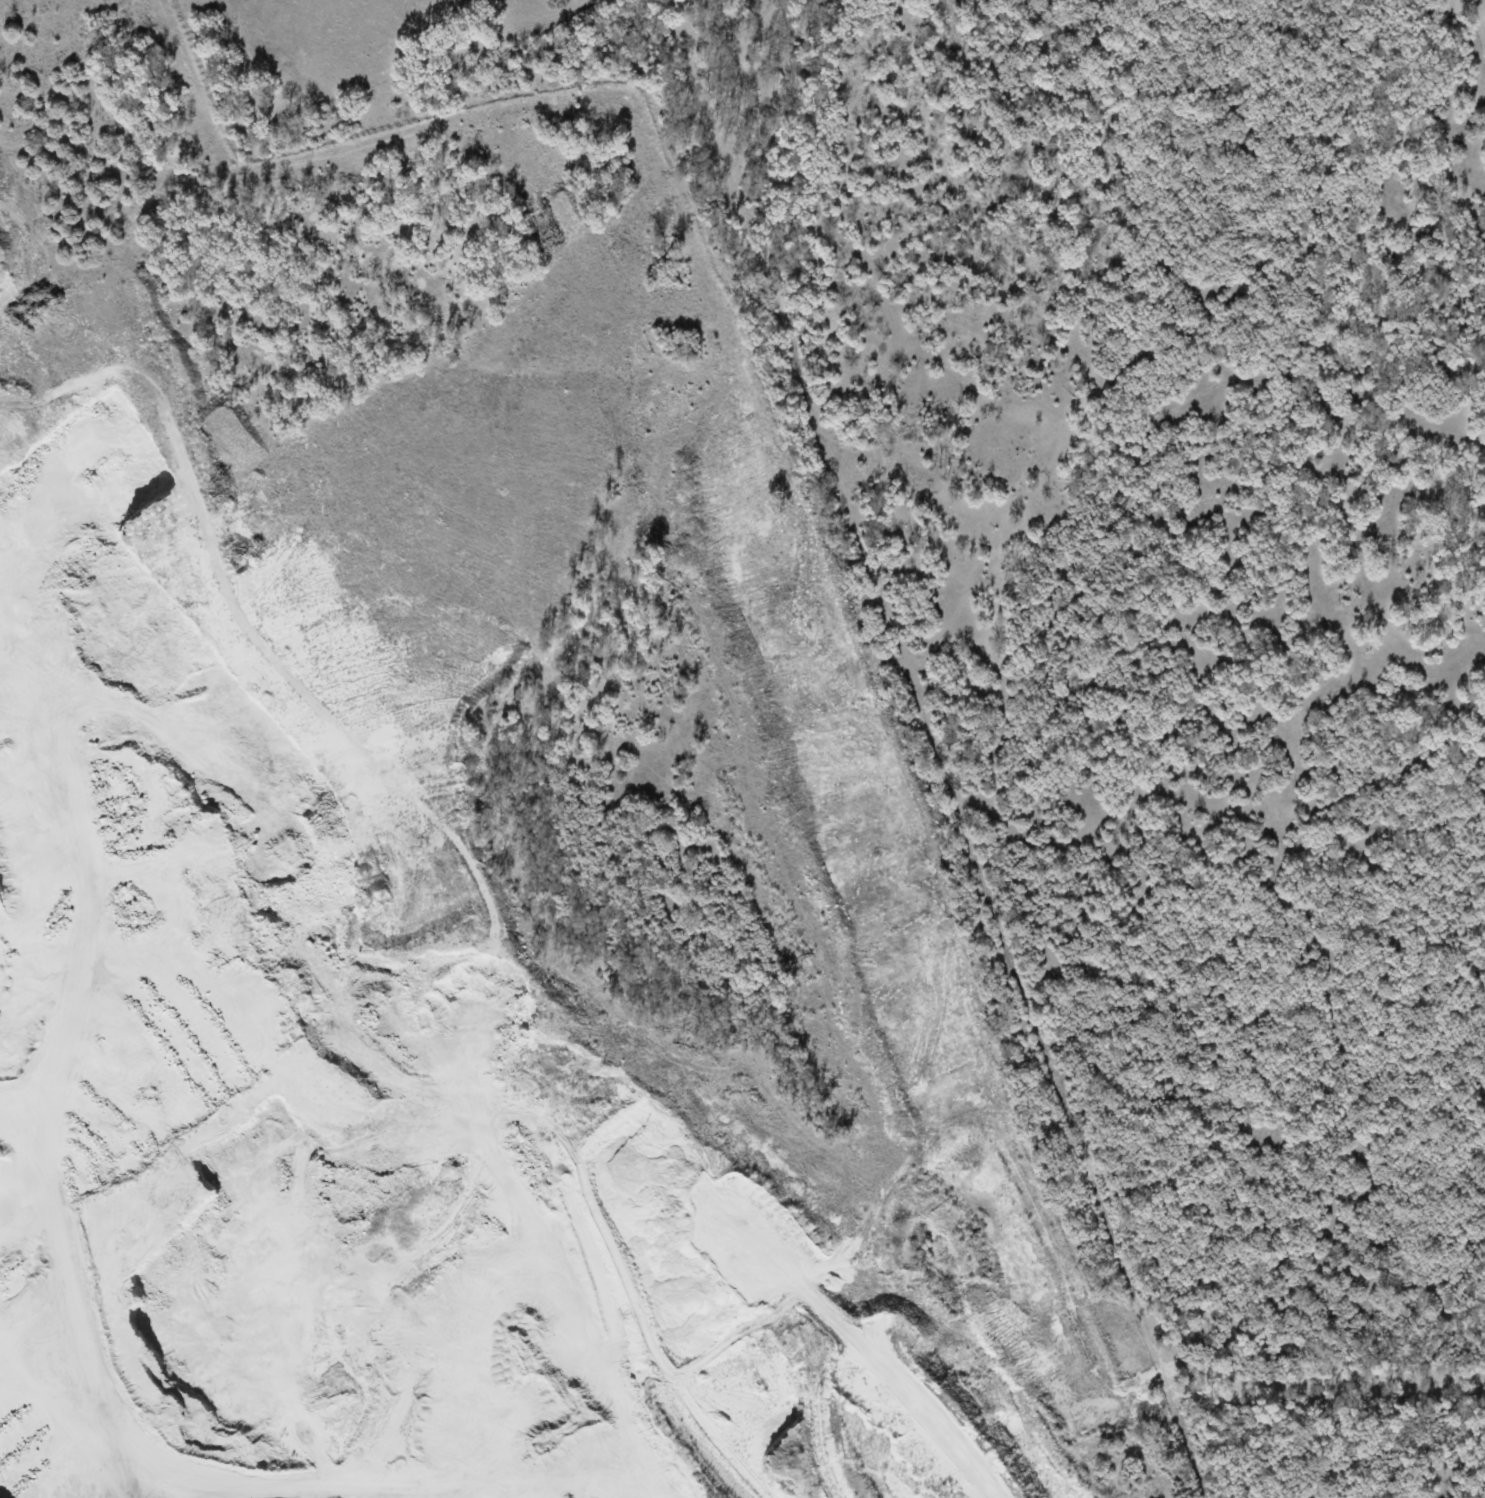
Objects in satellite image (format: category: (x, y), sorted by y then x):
quarry: (523, 1371)

